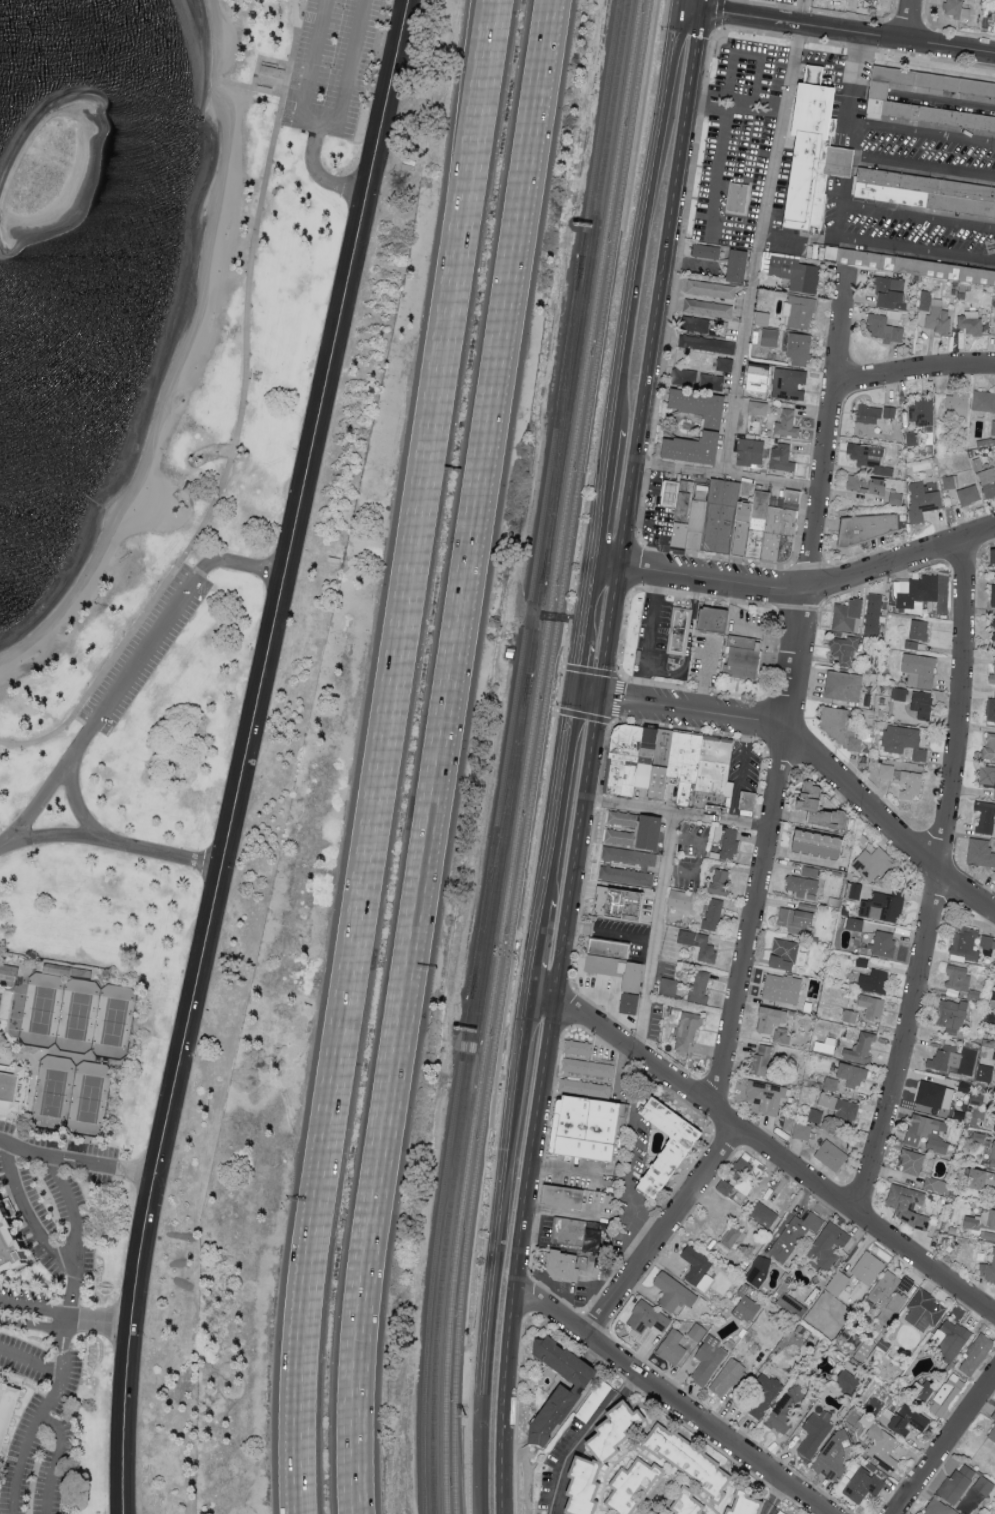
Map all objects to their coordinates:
road: (678, 4)
road: (704, 6)
road: (744, 8)
traffic signals: (678, 9)
building: (958, 9)
road: (690, 10)
traffic signals: (703, 12)
road: (722, 14)
road: (719, 15)
road: (908, 20)
building: (994, 20)
road: (484, 22)
road: (486, 22)
road: (869, 34)
parking lot: (333, 64)
road: (315, 68)
building: (273, 75)
building: (969, 92)
road: (947, 102)
road: (735, 112)
road: (340, 122)
railway: (598, 128)
road: (921, 130)
building: (812, 157)
road: (863, 158)
road: (718, 175)
building: (926, 193)
building: (741, 200)
road: (643, 219)
road: (835, 225)
road: (797, 237)
building: (706, 251)
road: (687, 260)
building: (739, 266)
building: (918, 268)
building: (796, 273)
road: (750, 284)
road: (657, 289)
building: (711, 289)
railway: (583, 291)
building: (891, 292)
building: (708, 309)
building: (799, 311)
building: (935, 313)
building: (971, 323)
building: (696, 324)
building: (884, 329)
building: (770, 338)
building: (707, 344)
building: (800, 349)
building: (725, 364)
road: (914, 375)
building: (756, 376)
building: (696, 379)
building: (790, 384)
building: (983, 401)
building: (958, 403)
building: (702, 406)
building: (758, 408)
building: (921, 411)
building: (871, 418)
road: (238, 420)
railway: (560, 420)
building: (787, 424)
building: (694, 448)
building: (751, 452)
building: (782, 458)
building: (870, 458)
road: (677, 467)
building: (949, 482)
building: (988, 482)
building: (868, 484)
building: (969, 495)
building: (672, 496)
building: (793, 496)
road: (602, 497)
building: (923, 501)
pier: (97, 502)
building: (685, 515)
building: (723, 518)
park: (189, 522)
building: (746, 522)
building: (699, 527)
building: (761, 527)
building: (871, 527)
building: (790, 537)
building: (775, 538)
building: (994, 557)
road: (607, 567)
road: (638, 572)
road: (829, 585)
building: (916, 590)
building: (993, 594)
road: (588, 605)
building: (873, 614)
building: (848, 616)
building: (711, 620)
road: (651, 623)
railway: (524, 628)
railway: (534, 628)
building: (994, 632)
building: (677, 633)
building: (917, 633)
road: (610, 634)
road: (686, 643)
building: (844, 649)
parking lot: (151, 654)
building: (745, 657)
building: (707, 659)
building: (920, 670)
road: (578, 671)
road: (128, 677)
road: (702, 677)
building: (992, 678)
building: (843, 686)
road: (641, 689)
road: (792, 695)
traffic signals: (575, 697)
road: (588, 698)
traffic signals: (601, 700)
road: (620, 703)
building: (922, 706)
building: (991, 710)
building: (842, 726)
building: (903, 742)
building: (989, 749)
road: (243, 754)
railway: (527, 755)
railway: (536, 755)
road: (440, 756)
building: (627, 764)
building: (689, 766)
building: (663, 768)
road: (837, 771)
road: (739, 772)
building: (986, 775)
building: (716, 776)
road: (374, 777)
building: (910, 786)
building: (994, 796)
road: (76, 799)
road: (559, 799)
building: (750, 804)
building: (822, 807)
road: (679, 814)
building: (985, 817)
building: (623, 819)
building: (652, 833)
railway: (498, 836)
railway: (502, 836)
building: (620, 837)
road: (109, 841)
building: (730, 844)
building: (821, 845)
road: (578, 851)
building: (980, 853)
building: (629, 856)
road: (701, 859)
building: (874, 864)
building: (626, 876)
building: (721, 882)
building: (805, 882)
road: (937, 882)
building: (681, 899)
building: (884, 906)
building: (622, 907)
building: (713, 914)
building: (797, 920)
building: (856, 923)
road: (610, 935)
road: (654, 936)
building: (884, 943)
building: (699, 944)
building: (965, 944)
road: (536, 946)
building: (612, 952)
building: (785, 954)
building: (8, 969)
building: (958, 977)
building: (875, 981)
building: (669, 987)
building: (701, 987)
building: (782, 987)
road: (542, 997)
building: (633, 999)
building: (872, 1006)
park: (42, 1011)
building: (952, 1015)
building: (851, 1016)
park: (77, 1017)
building: (773, 1018)
park: (114, 1023)
building: (688, 1029)
building: (782, 1035)
building: (579, 1047)
building: (862, 1048)
building: (946, 1057)
building: (762, 1059)
building: (588, 1067)
building: (985, 1072)
building: (853, 1074)
building: (14, 1086)
park: (53, 1094)
building: (767, 1097)
building: (936, 1097)
park: (89, 1100)
building: (841, 1107)
building: (815, 1116)
building: (788, 1124)
building: (802, 1131)
building: (929, 1133)
building: (590, 1134)
building: (671, 1144)
building: (831, 1155)
building: (992, 1156)
road: (775, 1158)
road: (76, 1161)
building: (912, 1162)
road: (567, 1168)
building: (741, 1169)
building: (981, 1178)
building: (936, 1184)
road: (630, 1186)
building: (725, 1186)
building: (562, 1198)
building: (994, 1199)
building: (908, 1204)
building: (604, 1209)
building: (764, 1214)
building: (988, 1218)
road: (660, 1232)
building: (569, 1233)
building: (795, 1235)
building: (731, 1237)
building: (10, 1244)
building: (830, 1244)
road: (495, 1252)
railway: (434, 1255)
railway: (442, 1255)
road: (520, 1257)
road: (63, 1263)
building: (563, 1267)
building: (868, 1267)
building: (699, 1268)
building: (759, 1270)
building: (987, 1270)
building: (675, 1293)
building: (892, 1295)
road: (528, 1298)
building: (793, 1306)
road: (34, 1308)
road: (69, 1309)
building: (748, 1309)
building: (925, 1309)
building: (646, 1319)
road: (98, 1322)
road: (35, 1329)
building: (697, 1331)
building: (953, 1339)
building: (674, 1347)
building: (977, 1354)
building: (708, 1360)
road: (30, 1361)
building: (0, 1373)
building: (730, 1377)
building: (849, 1382)
building: (564, 1387)
building: (943, 1394)
building: (765, 1397)
road: (671, 1400)
building: (786, 1409)
building: (8, 1410)
road: (517, 1414)
building: (993, 1416)
building: (906, 1419)
road: (33, 1427)
building: (815, 1433)
building: (992, 1434)
road: (583, 1439)
road: (944, 1442)
building: (882, 1448)
building: (605, 1455)
building: (692, 1459)
road: (58, 1460)
building: (958, 1483)
building: (635, 1484)
building: (863, 1485)
building: (984, 1485)
road: (778, 1500)
building: (690, 1502)
building: (749, 1503)
building: (937, 1507)
building: (782, 1512)

